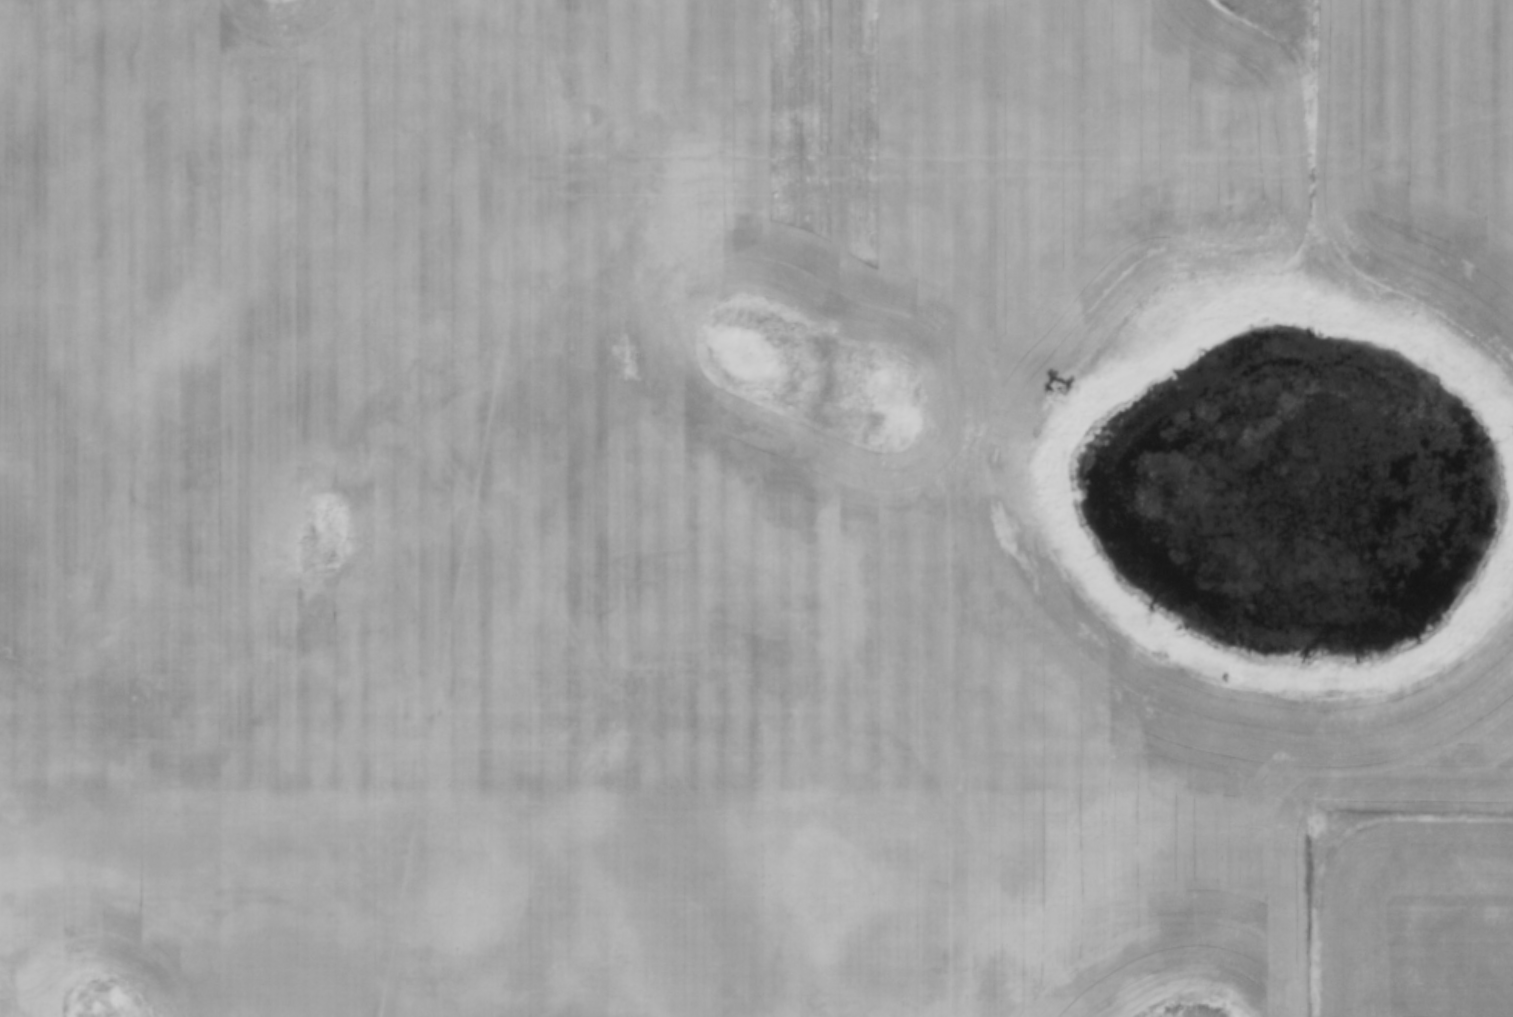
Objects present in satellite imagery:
road: (1331, 837)

